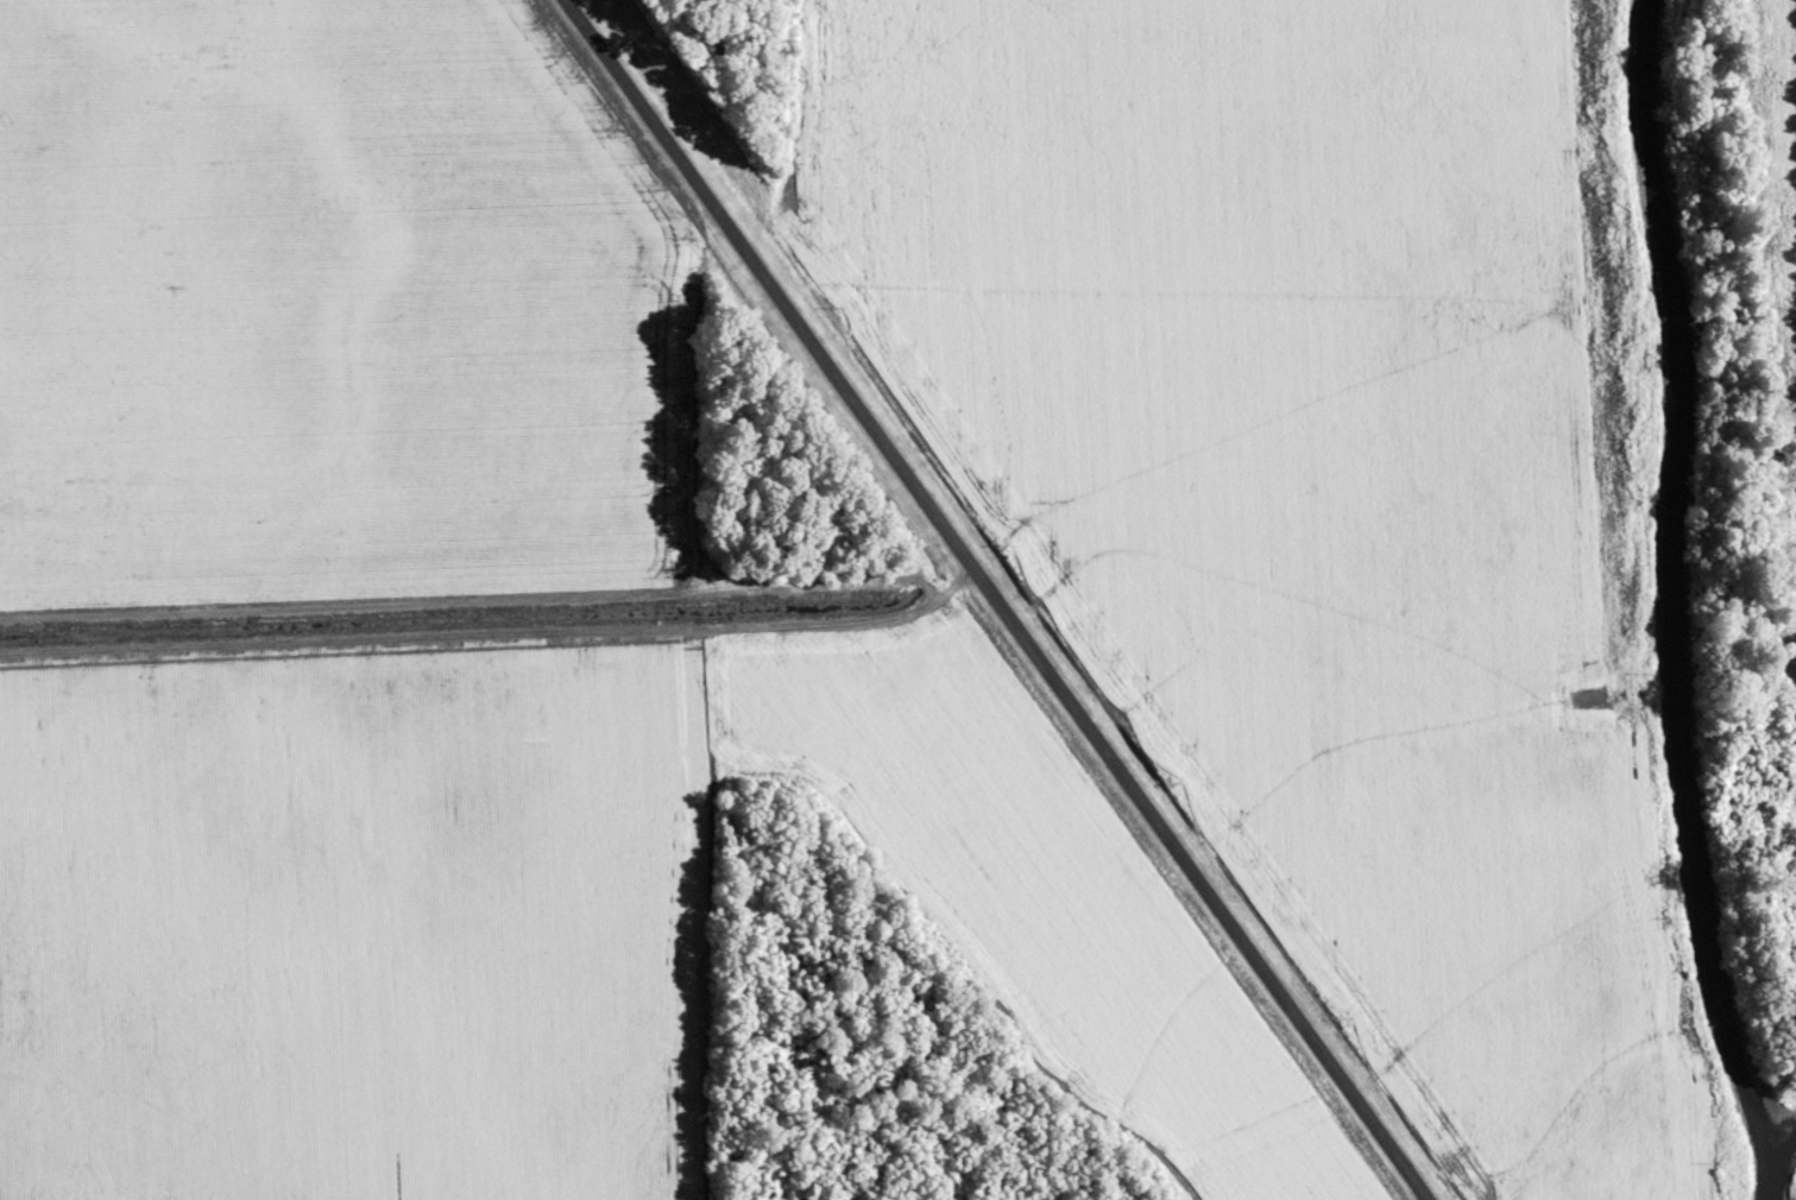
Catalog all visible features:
road: (992, 600)

